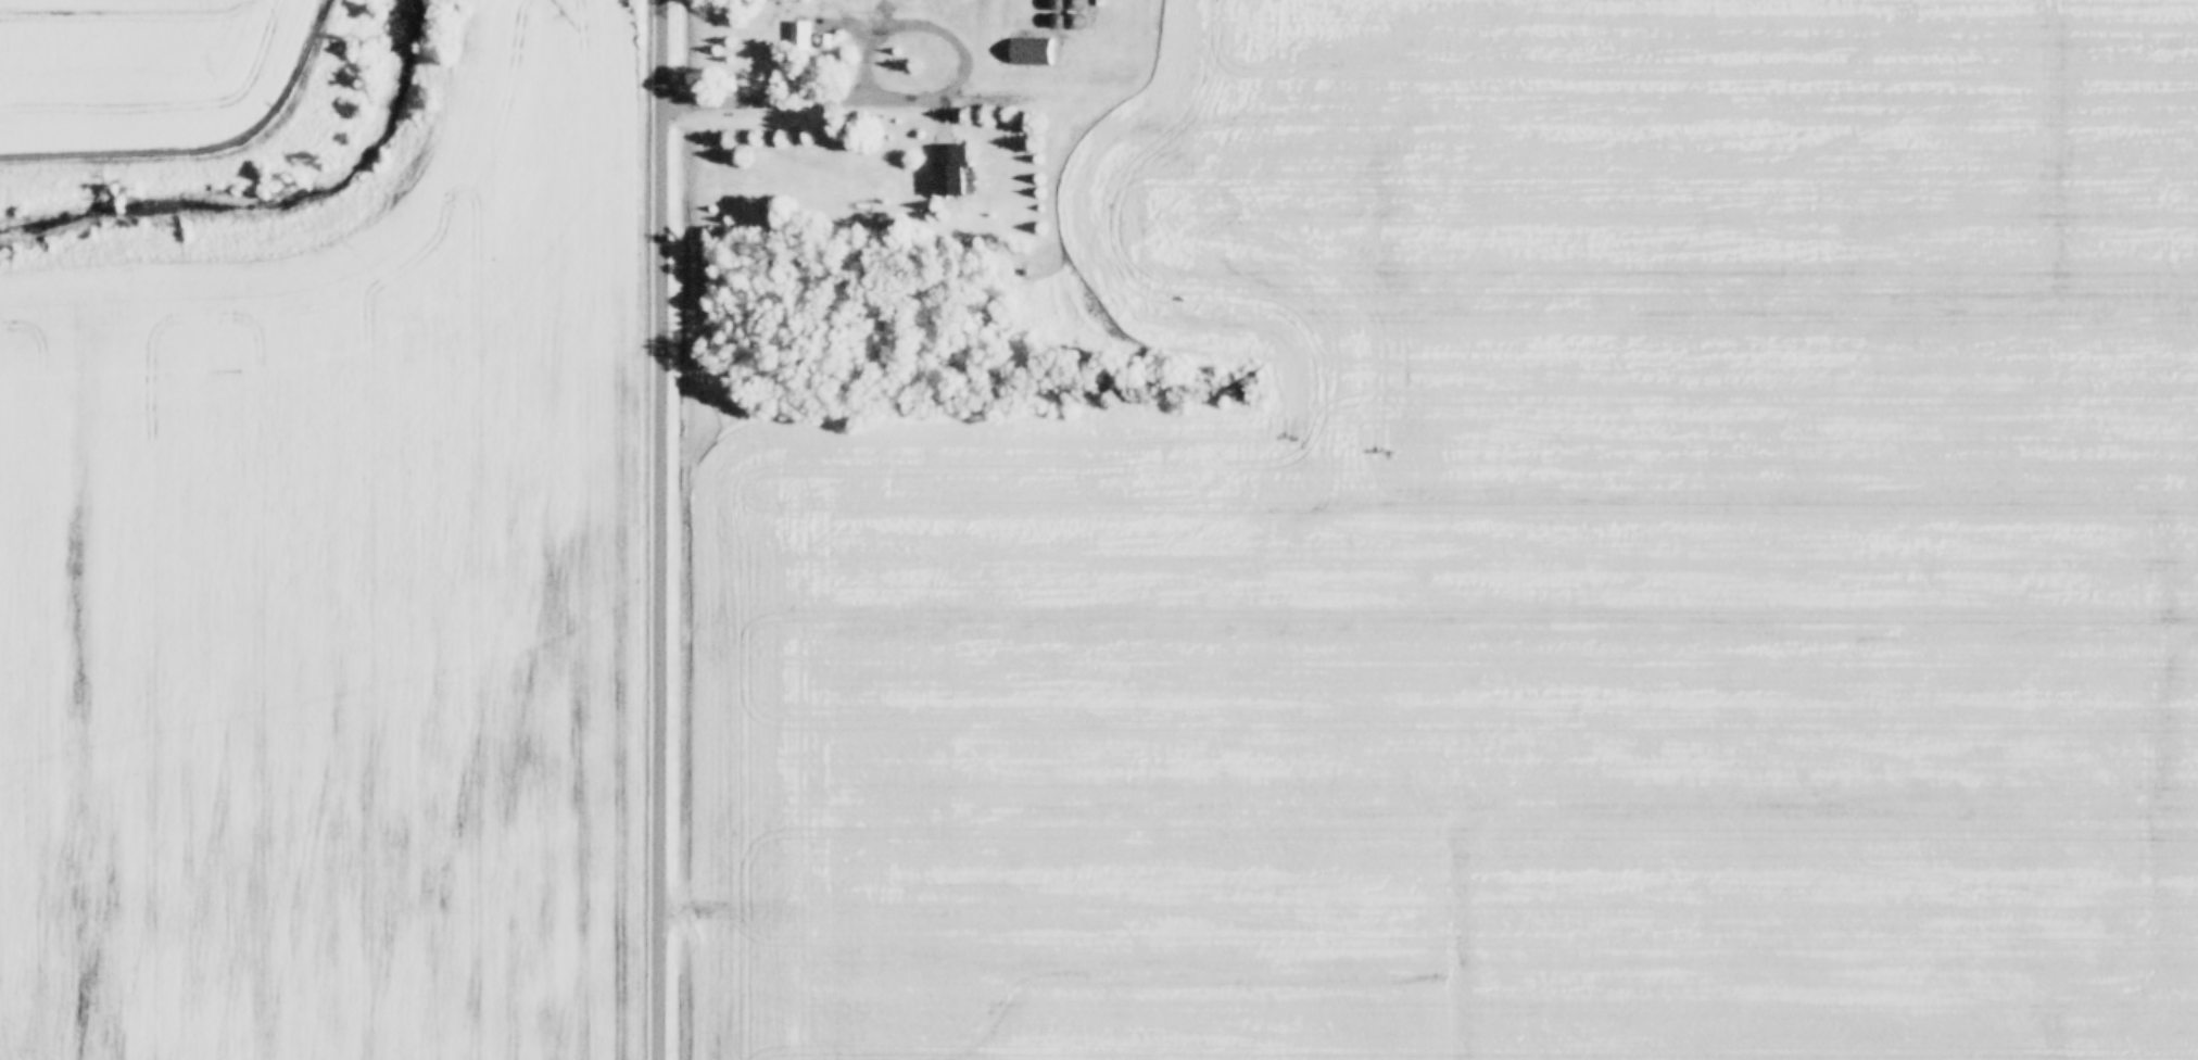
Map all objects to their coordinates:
building: (1058, 2)
silo: (1058, 2)
building: (1077, 2)
silo: (1077, 2)
building: (1058, 20)
silo: (1058, 20)
building: (1077, 20)
silo: (1077, 20)
road: (844, 26)
building: (797, 35)
building: (824, 40)
building: (1027, 51)
road: (861, 52)
road: (890, 101)
road: (683, 104)
building: (949, 169)
road: (660, 529)

